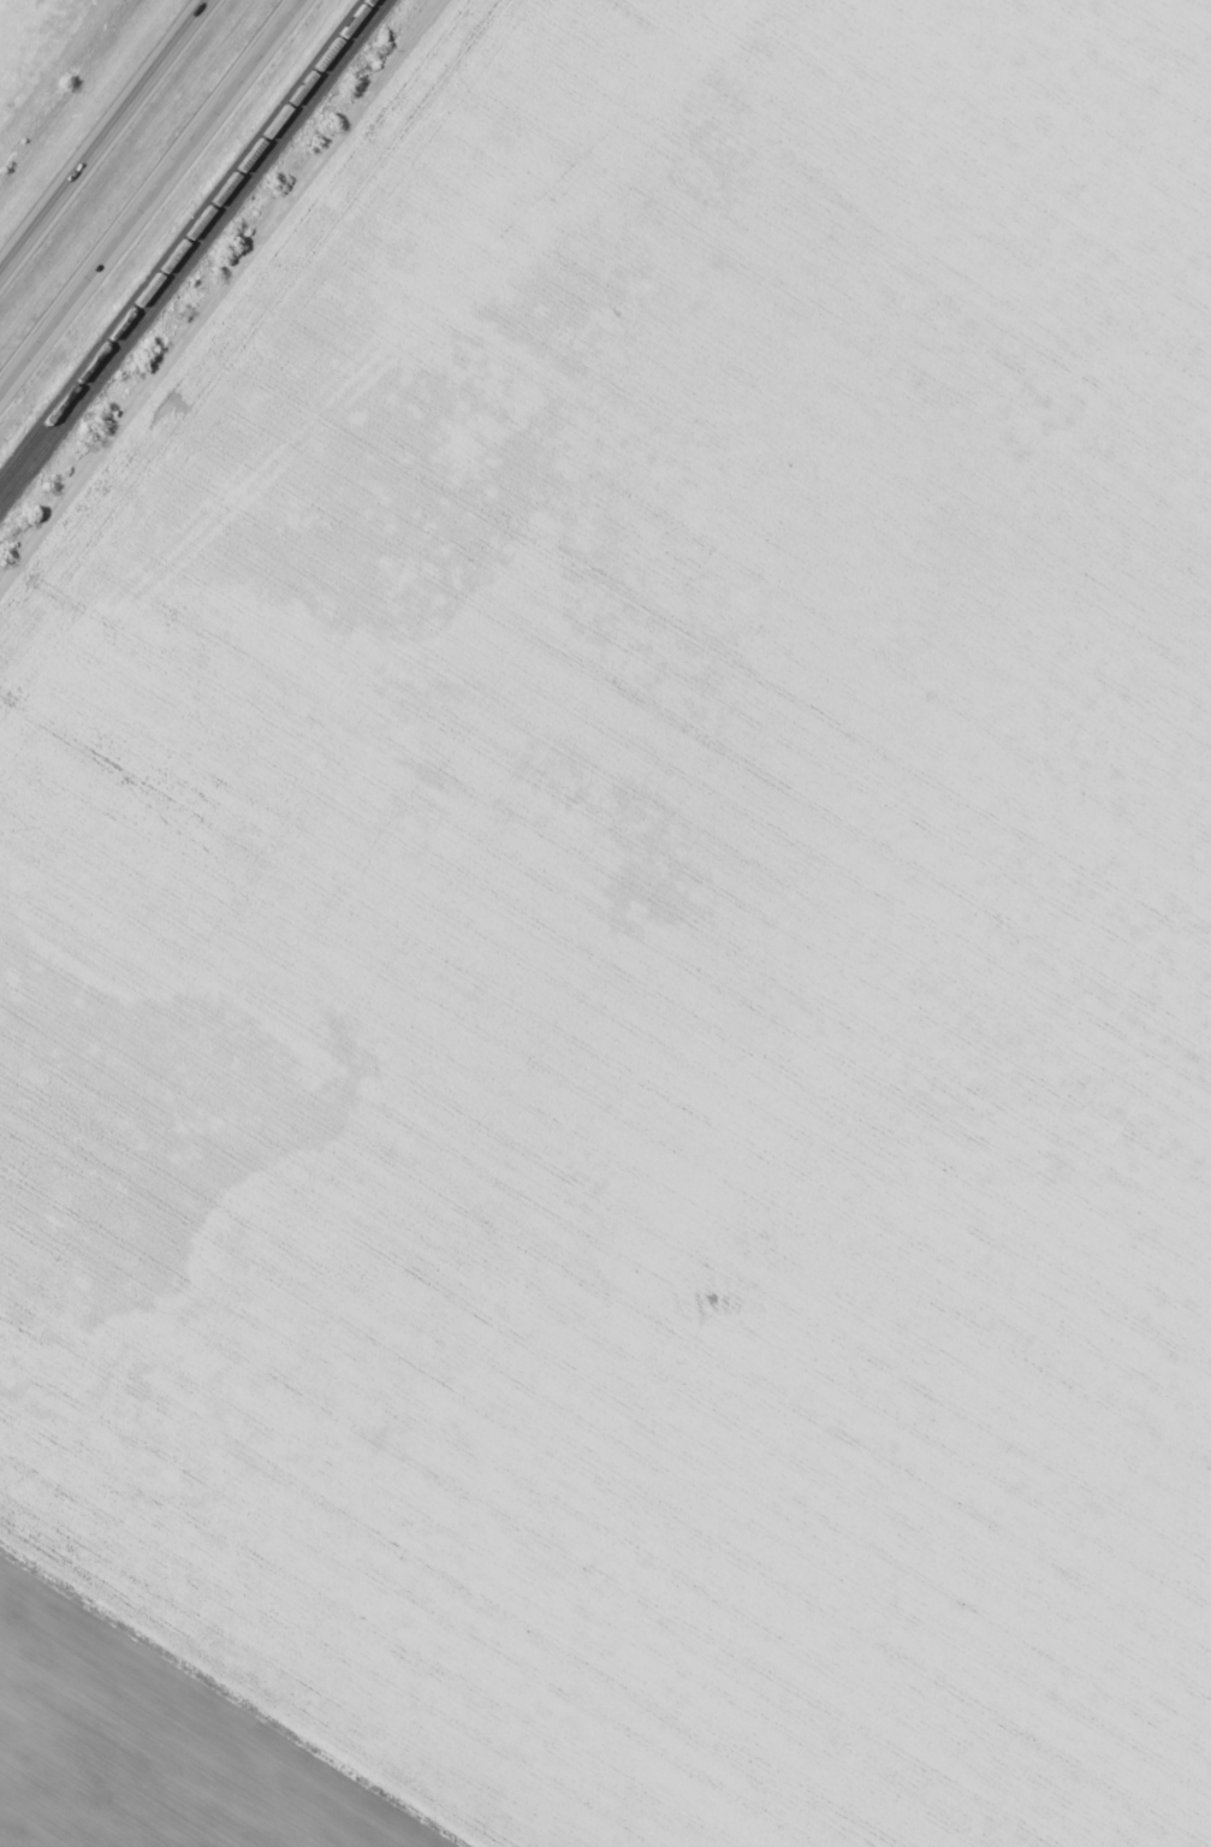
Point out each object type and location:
road: (107, 140)
road: (150, 197)
railway: (194, 255)

